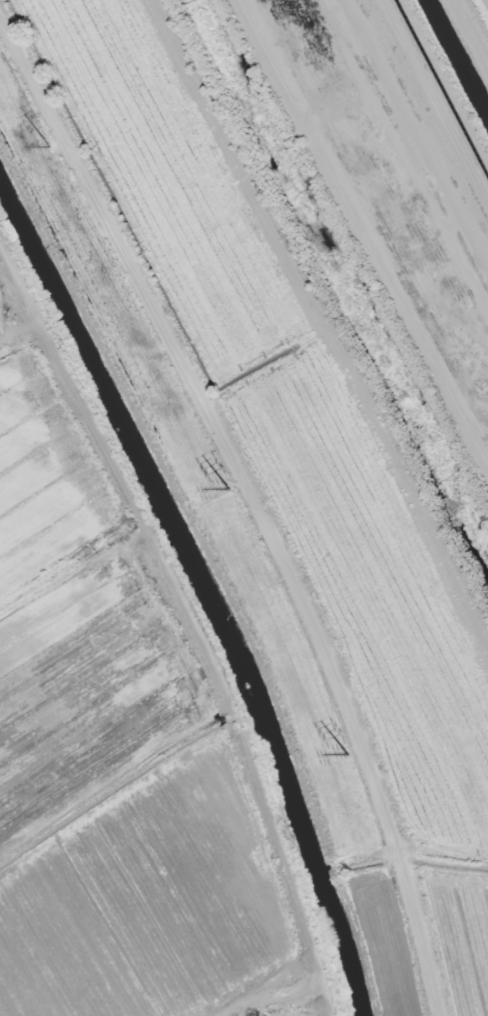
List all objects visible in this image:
power tower: (46, 147)
river: (356, 283)
power tower: (224, 490)
road: (251, 503)
road: (194, 622)
power tower: (346, 757)
crop: (109, 768)

